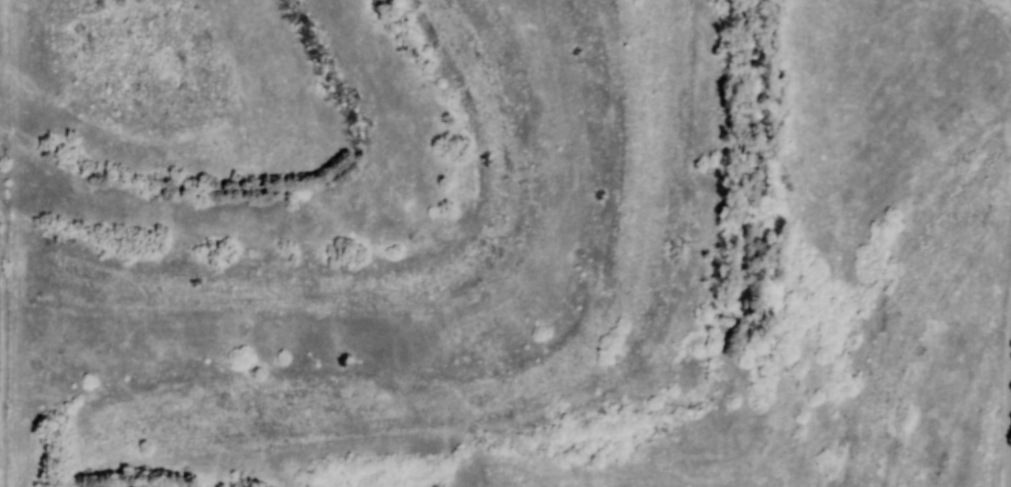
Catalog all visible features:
road: (1010, 449)

